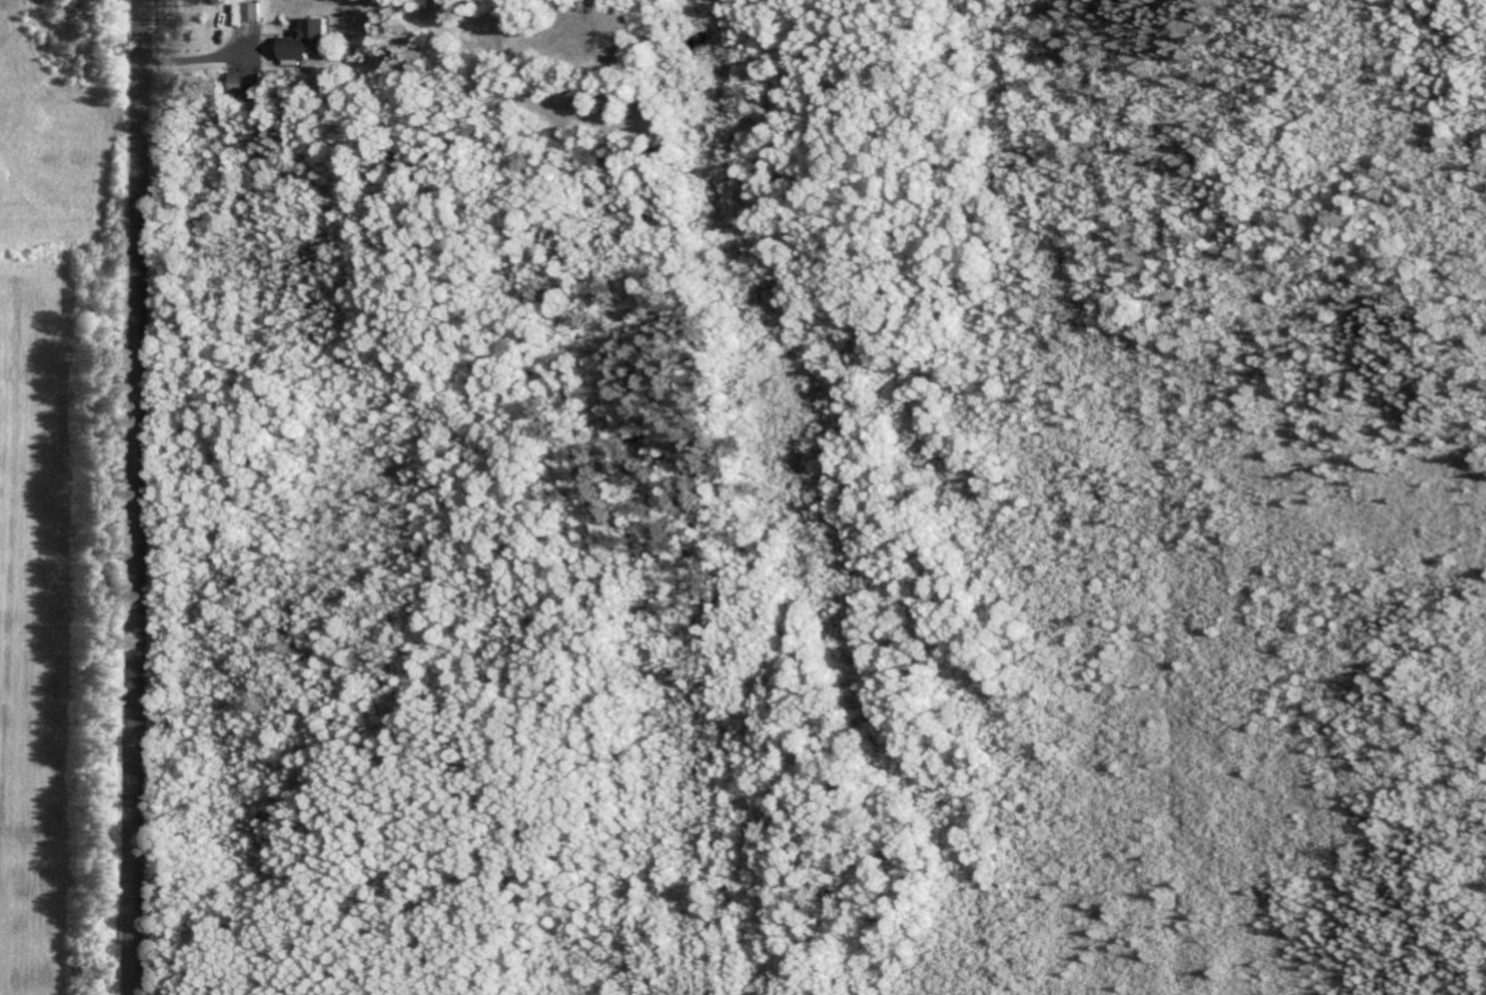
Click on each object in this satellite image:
building: (251, 15)
building: (306, 44)
building: (247, 86)
road: (138, 497)

